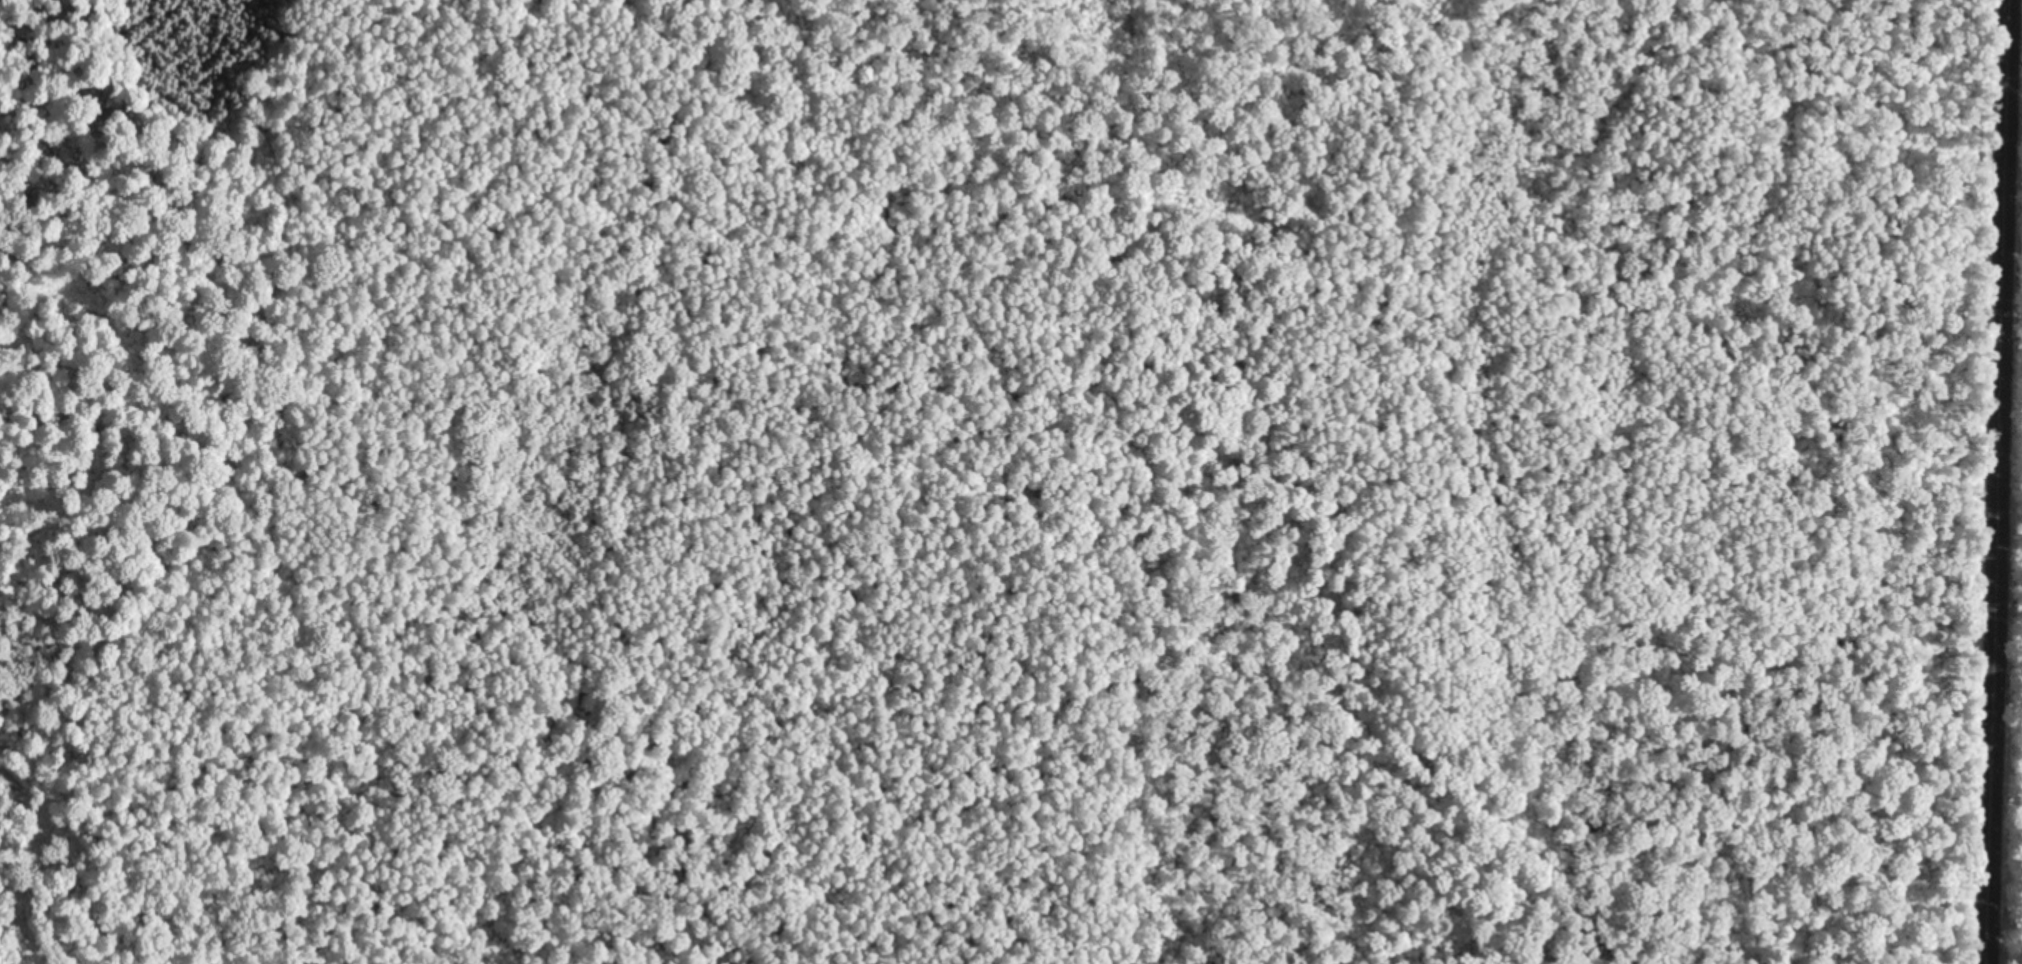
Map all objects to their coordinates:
road: (1992, 482)

